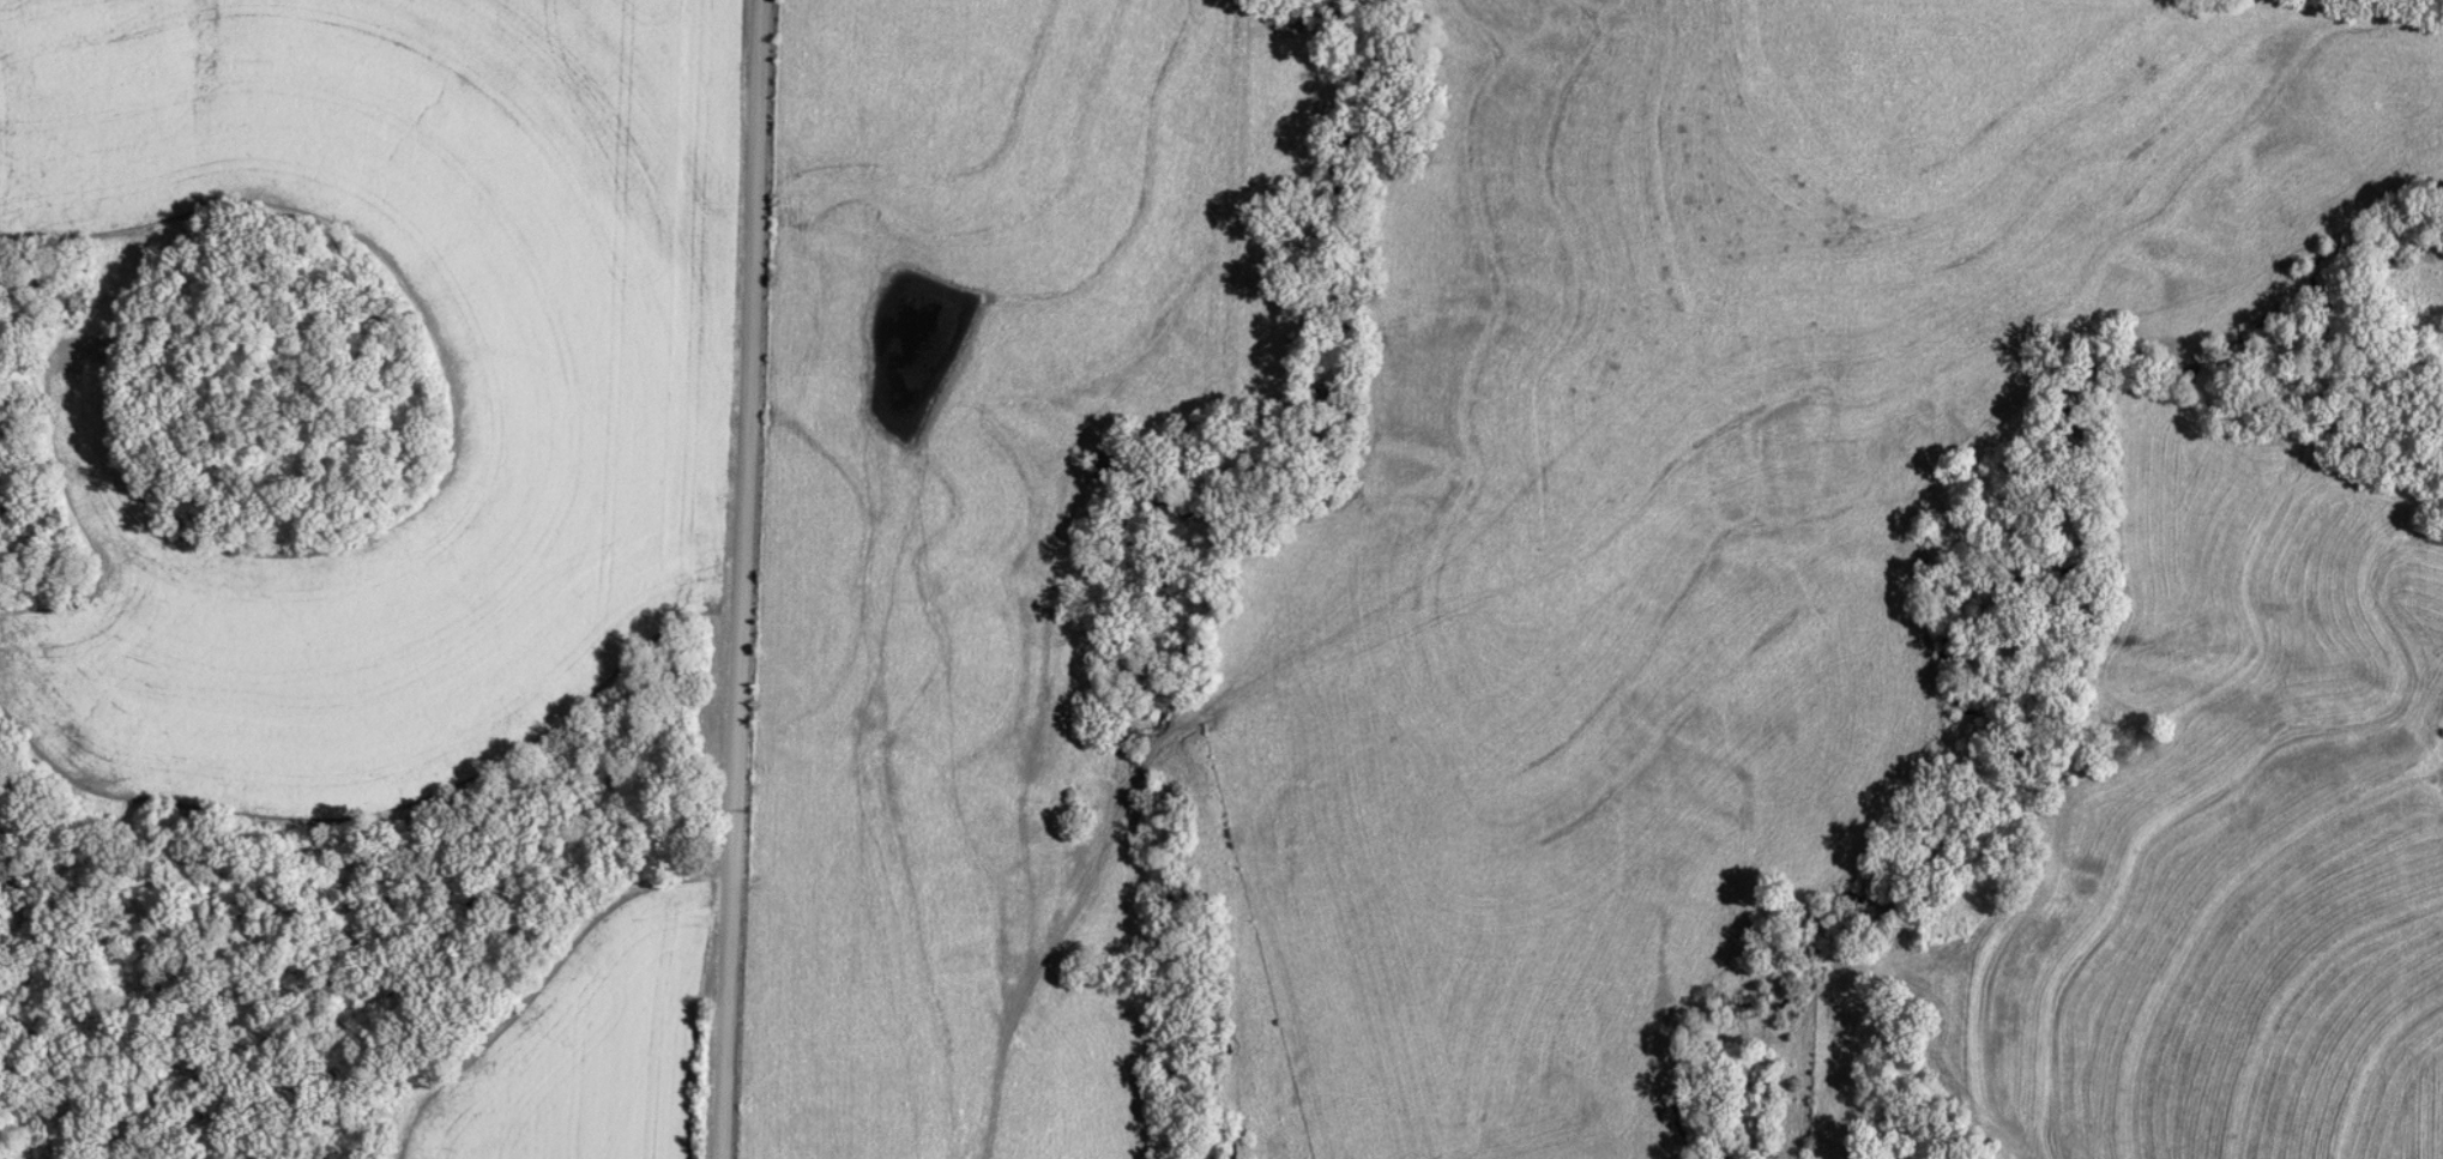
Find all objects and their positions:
road: (735, 579)

